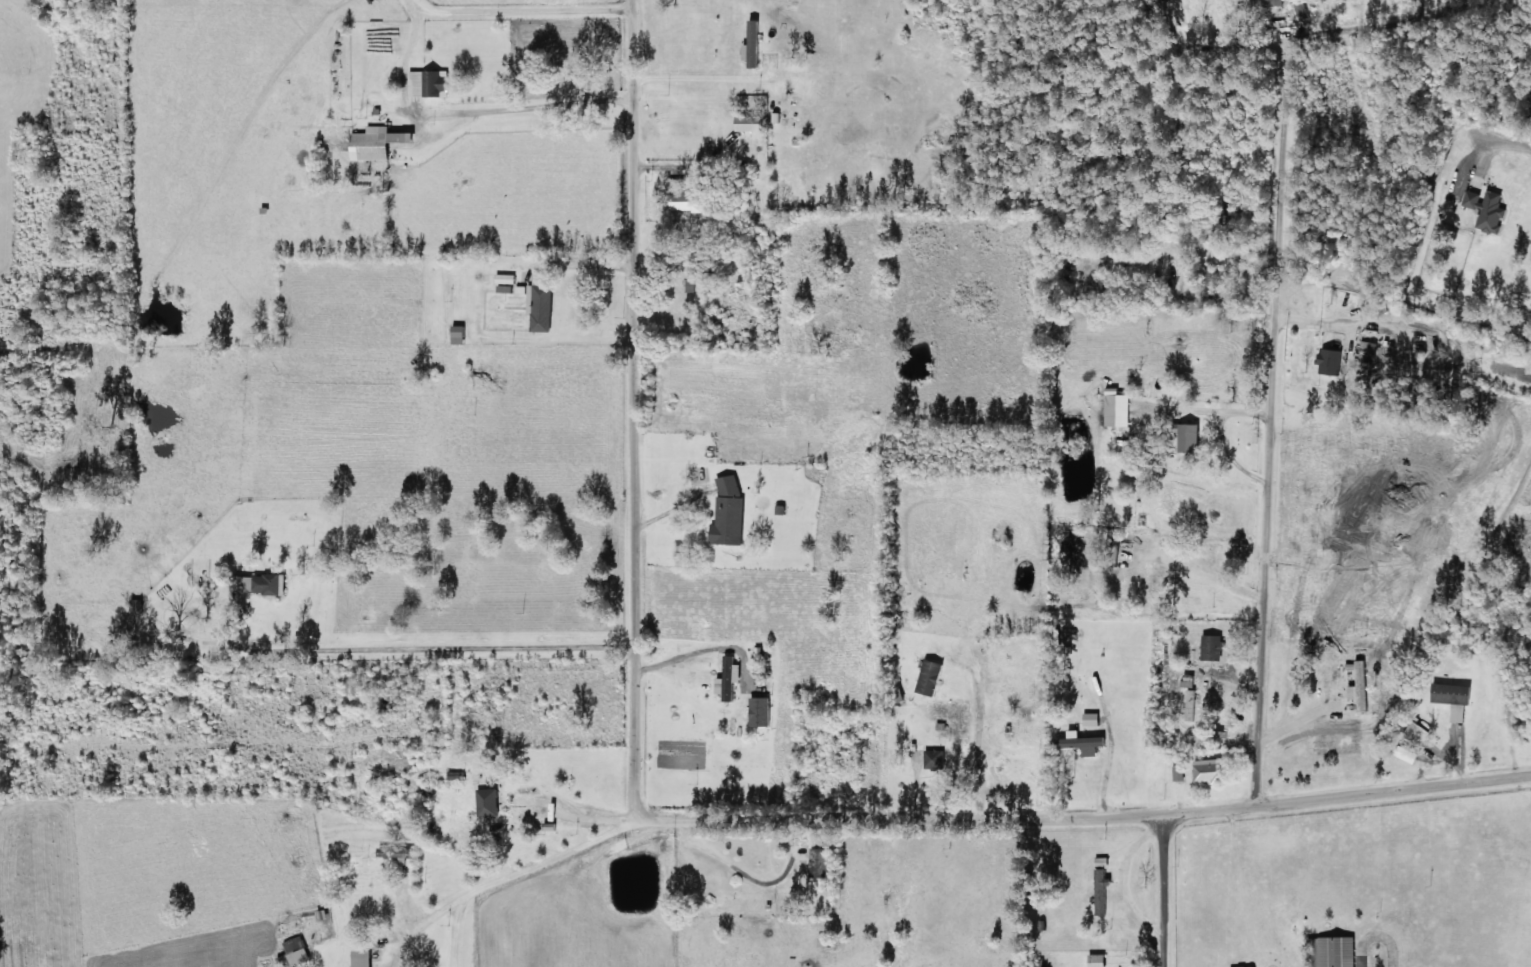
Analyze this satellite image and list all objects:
road: (44, 3)
building: (1266, 3)
building: (754, 44)
road: (1430, 44)
building: (429, 83)
building: (750, 123)
building: (376, 142)
building: (685, 196)
building: (1487, 208)
building: (694, 274)
building: (505, 282)
building: (541, 300)
building: (461, 334)
building: (1333, 361)
building: (1118, 410)
road: (657, 412)
road: (1275, 429)
building: (1191, 438)
building: (730, 513)
building: (1167, 576)
building: (260, 584)
building: (139, 604)
road: (486, 638)
building: (1209, 647)
building: (730, 677)
building: (932, 677)
building: (1185, 681)
building: (1357, 683)
building: (1451, 697)
building: (1188, 704)
building: (763, 712)
building: (1088, 718)
building: (1414, 733)
building: (1080, 742)
building: (933, 758)
building: (1209, 770)
building: (1177, 772)
building: (490, 801)
road: (1083, 816)
building: (397, 851)
building: (817, 862)
building: (1100, 884)
road: (1168, 891)
road: (480, 895)
building: (298, 949)
building: (1330, 951)
building: (363, 958)
building: (1094, 960)
building: (1033, 962)

